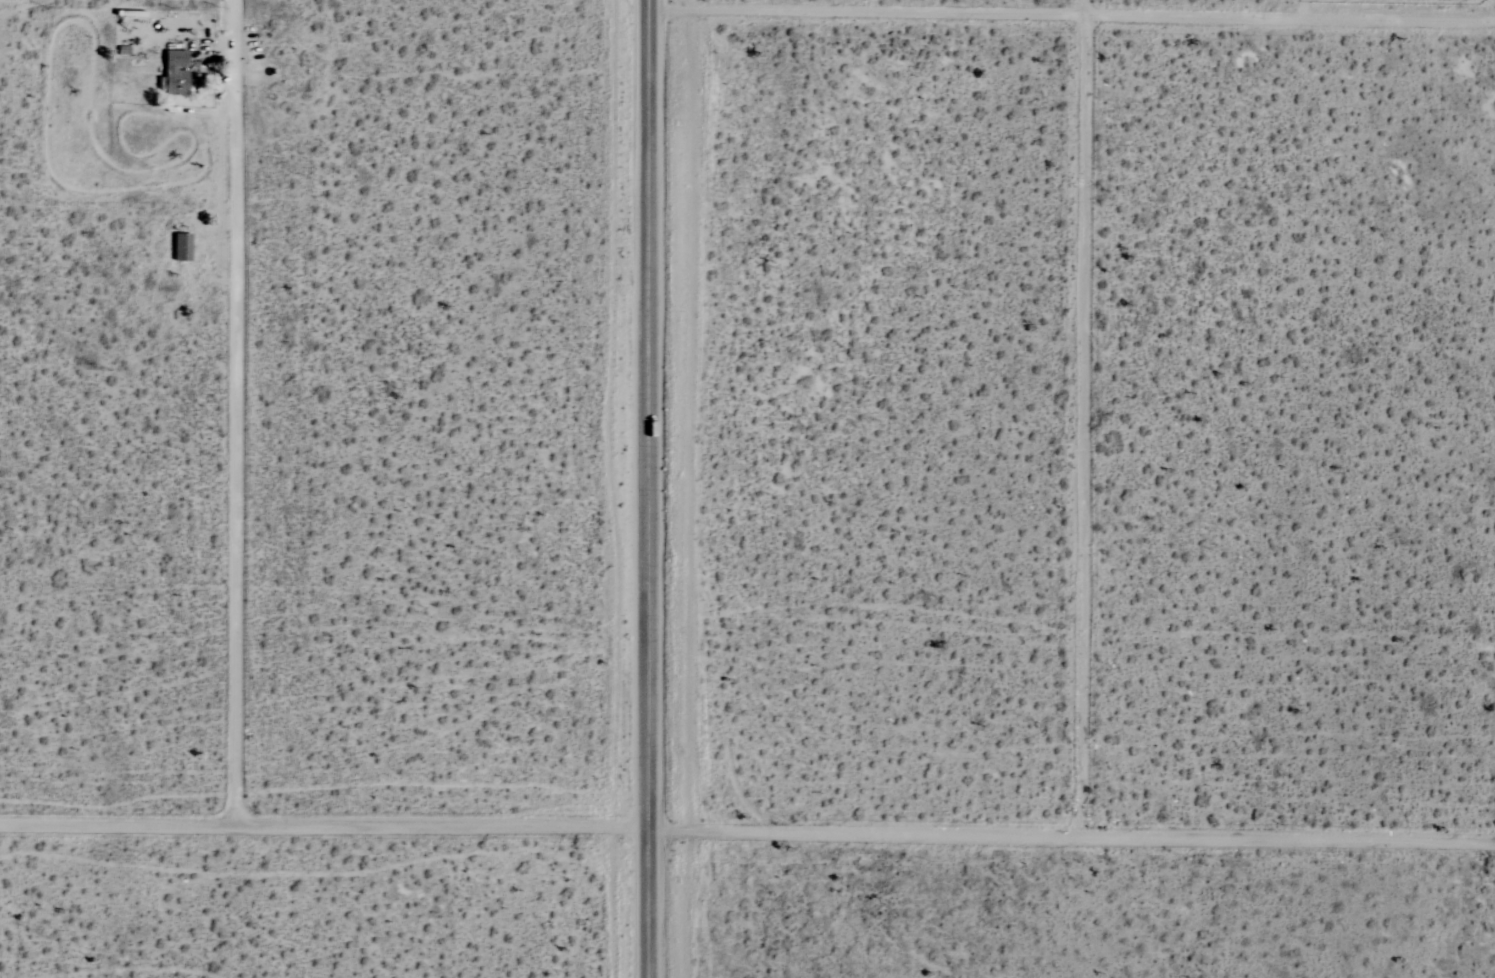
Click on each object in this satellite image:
road: (1072, 12)
road: (239, 413)
road: (1083, 415)
road: (652, 488)
road: (747, 829)

